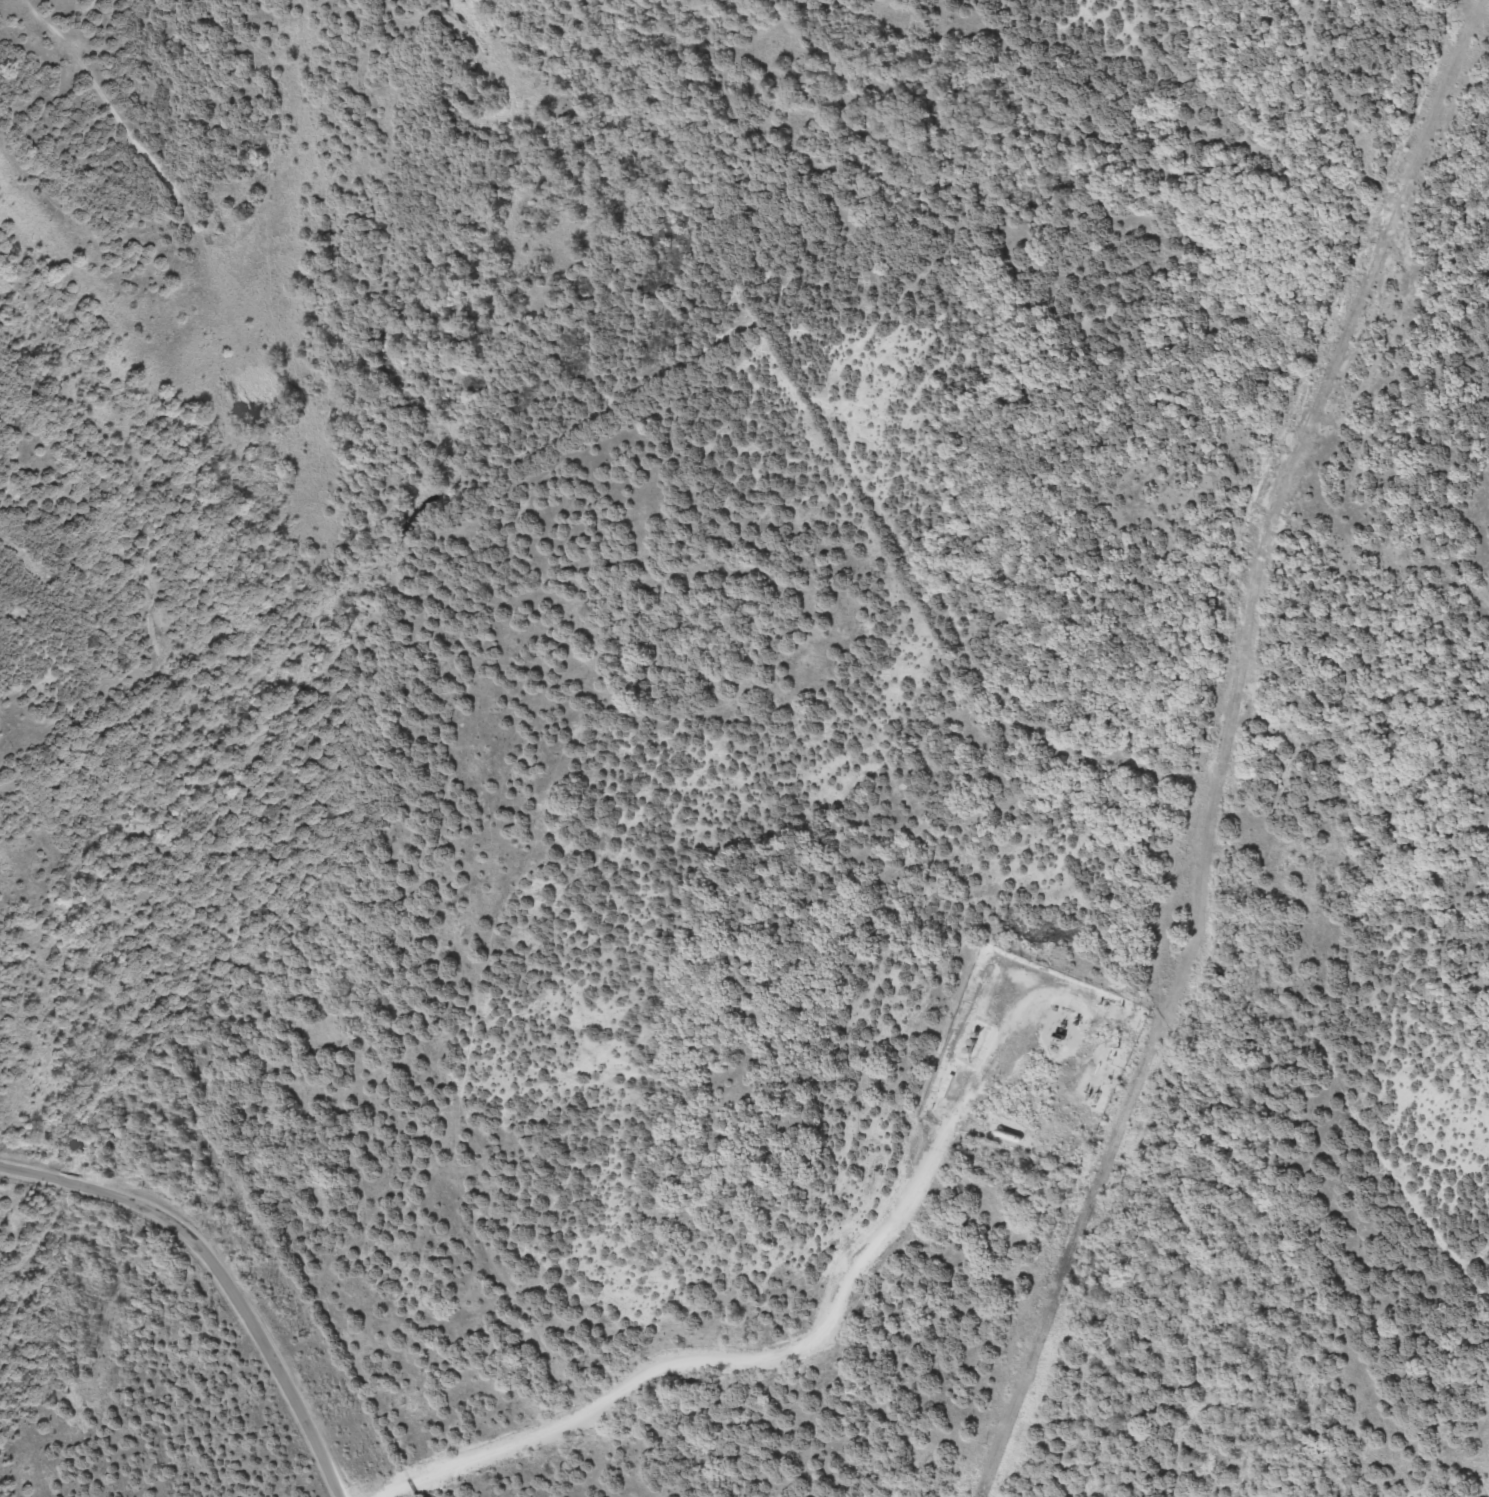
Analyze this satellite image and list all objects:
road: (224, 1274)

